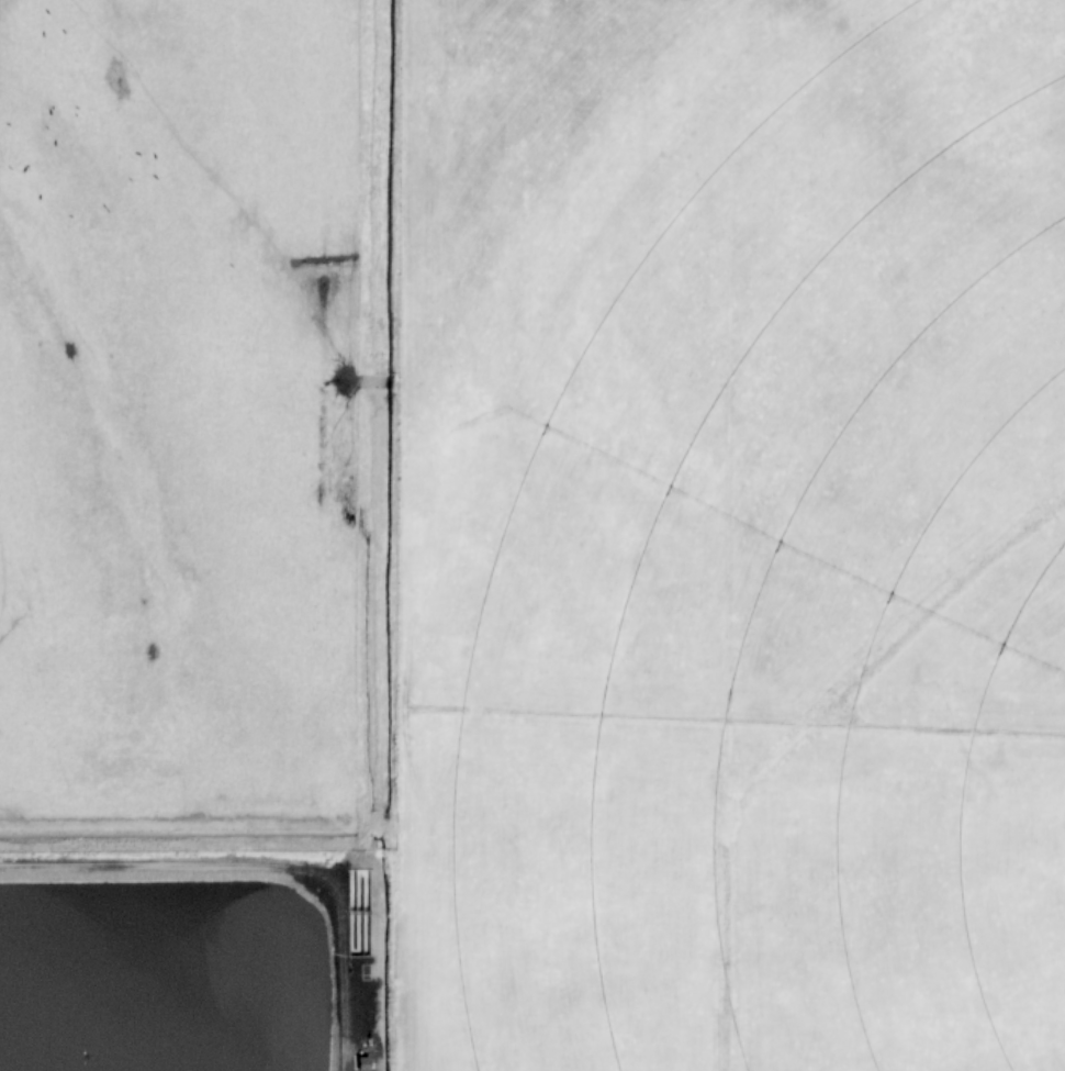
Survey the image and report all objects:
wastewater plant: (201, 955)

